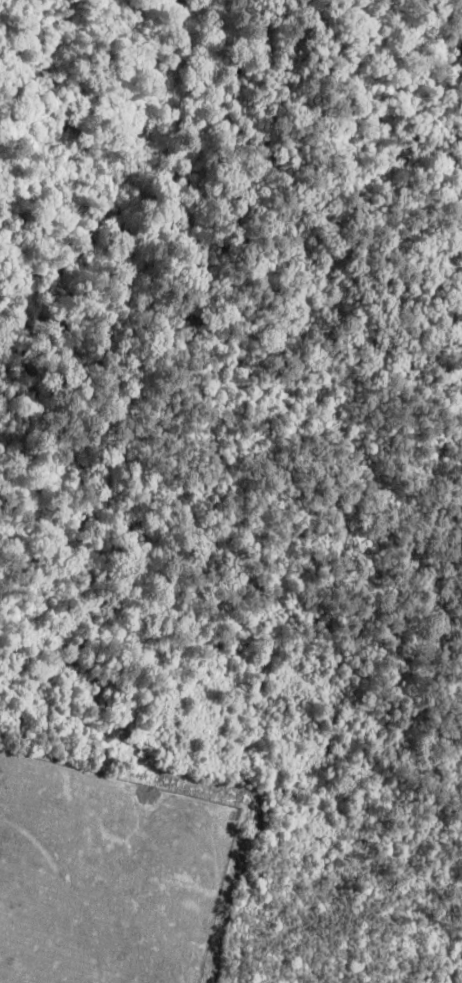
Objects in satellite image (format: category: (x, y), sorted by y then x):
airport: (106, 876)

